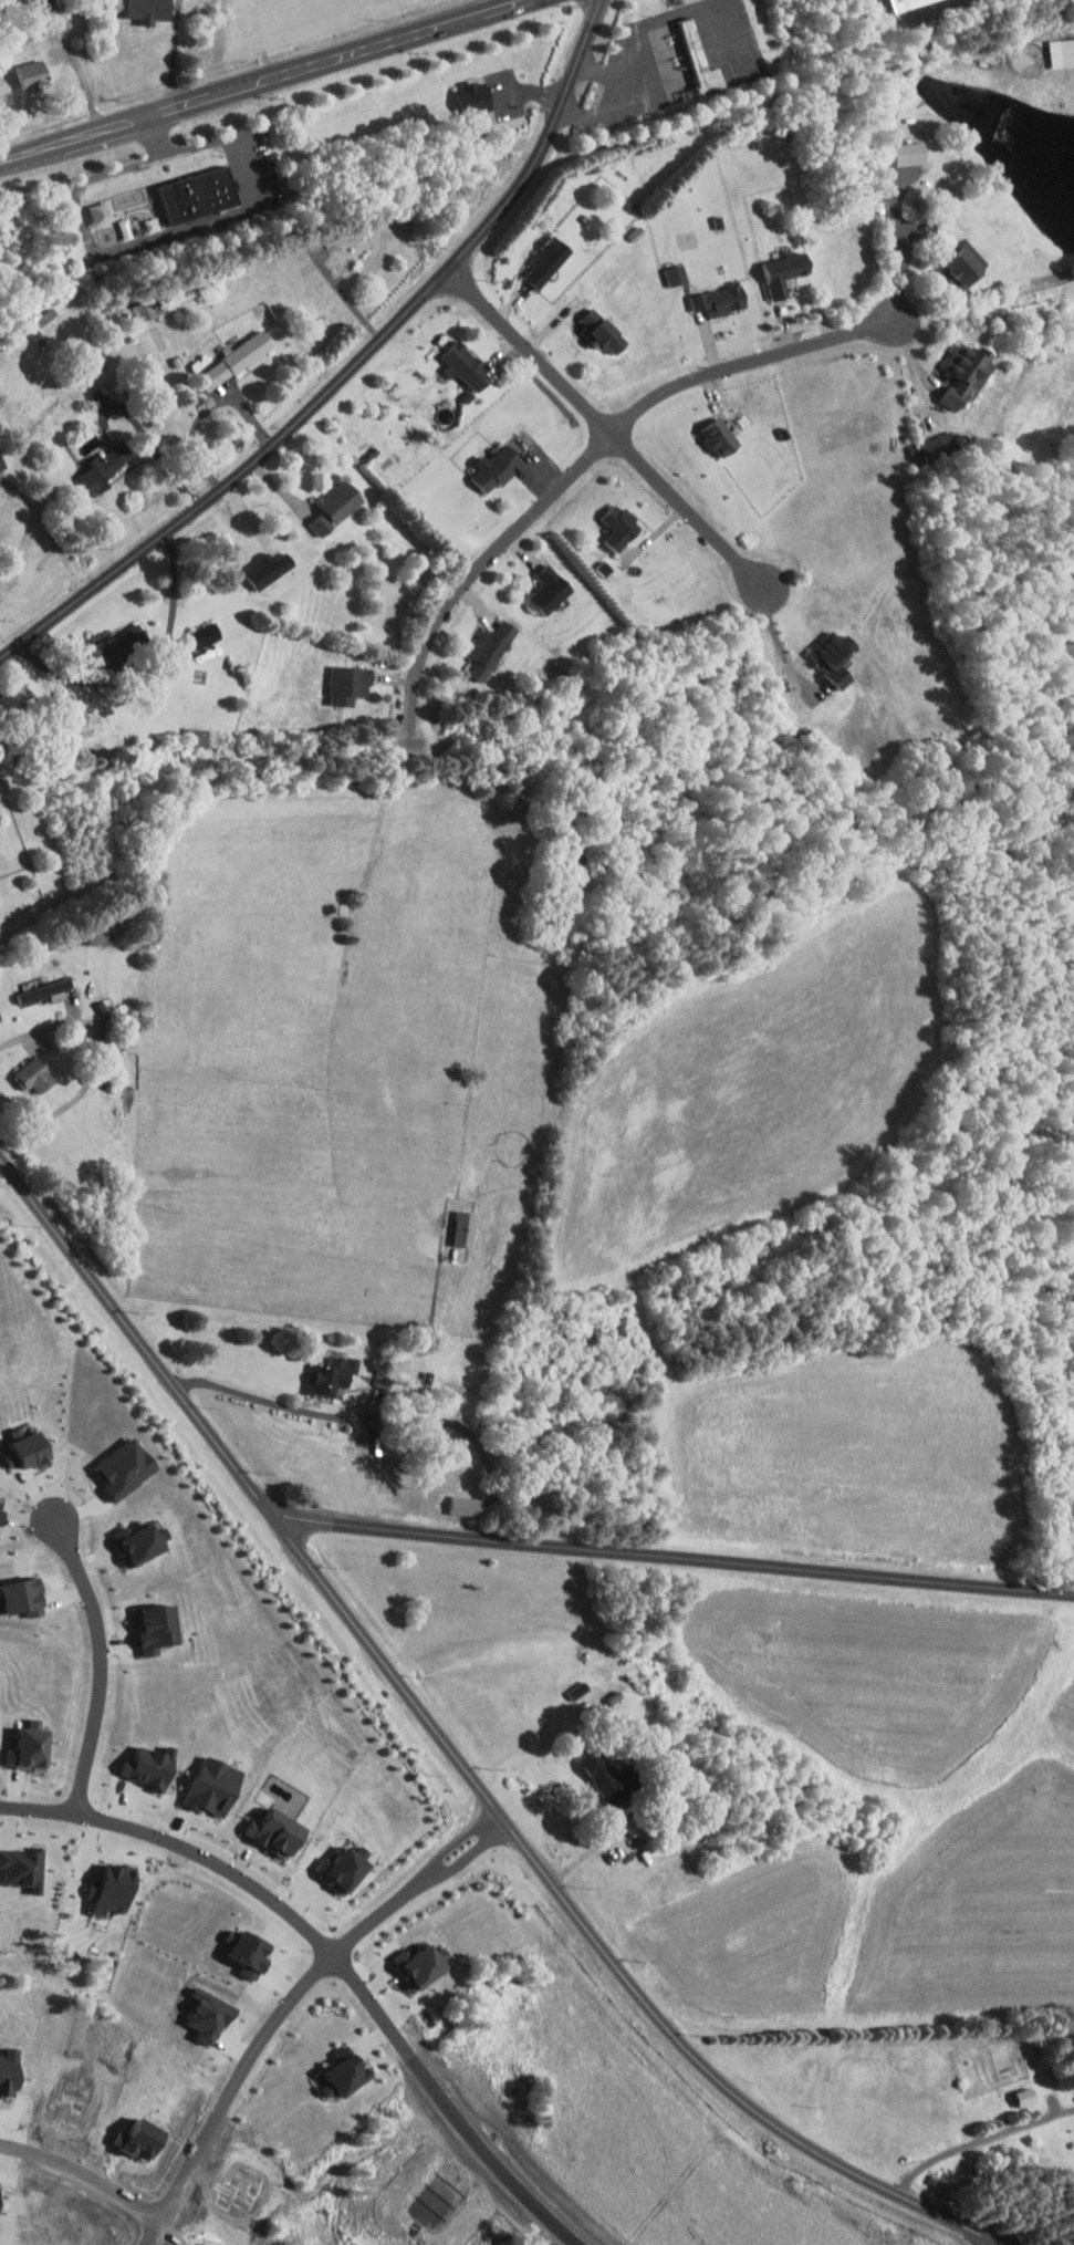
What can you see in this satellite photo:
building: (906, 4)
building: (1062, 52)
road: (177, 53)
building: (699, 62)
building: (34, 74)
road: (260, 81)
building: (476, 97)
road: (613, 101)
building: (200, 196)
building: (549, 261)
building: (963, 263)
road: (904, 266)
building: (786, 270)
building: (678, 274)
building: (723, 300)
building: (143, 310)
building: (51, 331)
building: (606, 331)
building: (241, 356)
building: (467, 364)
road: (748, 364)
road: (350, 368)
building: (966, 375)
road: (207, 409)
road: (608, 432)
building: (722, 436)
building: (936, 443)
road: (157, 448)
building: (2, 460)
building: (107, 467)
building: (338, 506)
building: (622, 526)
road: (55, 540)
building: (271, 569)
road: (478, 573)
building: (551, 589)
building: (207, 634)
building: (126, 645)
road: (782, 645)
building: (492, 648)
building: (835, 656)
road: (147, 665)
building: (351, 684)
building: (14, 698)
building: (204, 737)
building: (46, 990)
road: (93, 1062)
building: (37, 1075)
building: (467, 1228)
building: (334, 1374)
road: (269, 1402)
building: (29, 1448)
building: (468, 1505)
building: (2, 1511)
building: (144, 1542)
road: (675, 1558)
building: (24, 1596)
road: (101, 1666)
building: (587, 1695)
building: (32, 1747)
road: (455, 1753)
building: (606, 1778)
building: (217, 1785)
building: (279, 1831)
building: (24, 1867)
road: (426, 1877)
building: (115, 1889)
road: (332, 1957)
building: (415, 1962)
road: (261, 2043)
building: (351, 2072)
building: (330, 2089)
road: (979, 2141)
road: (85, 2172)
road: (987, 2241)

